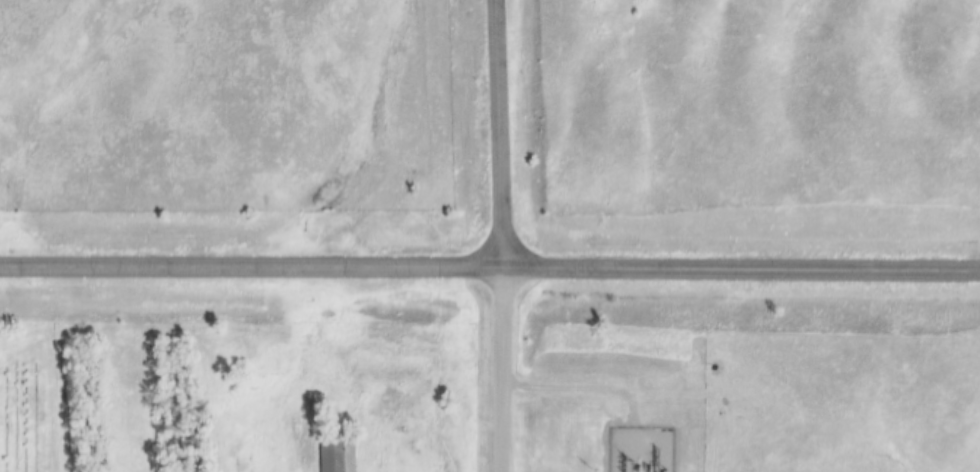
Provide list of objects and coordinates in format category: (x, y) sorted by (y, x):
road: (498, 133)
road: (490, 267)
road: (500, 369)
road: (579, 387)
power substation: (641, 449)
building: (337, 453)

